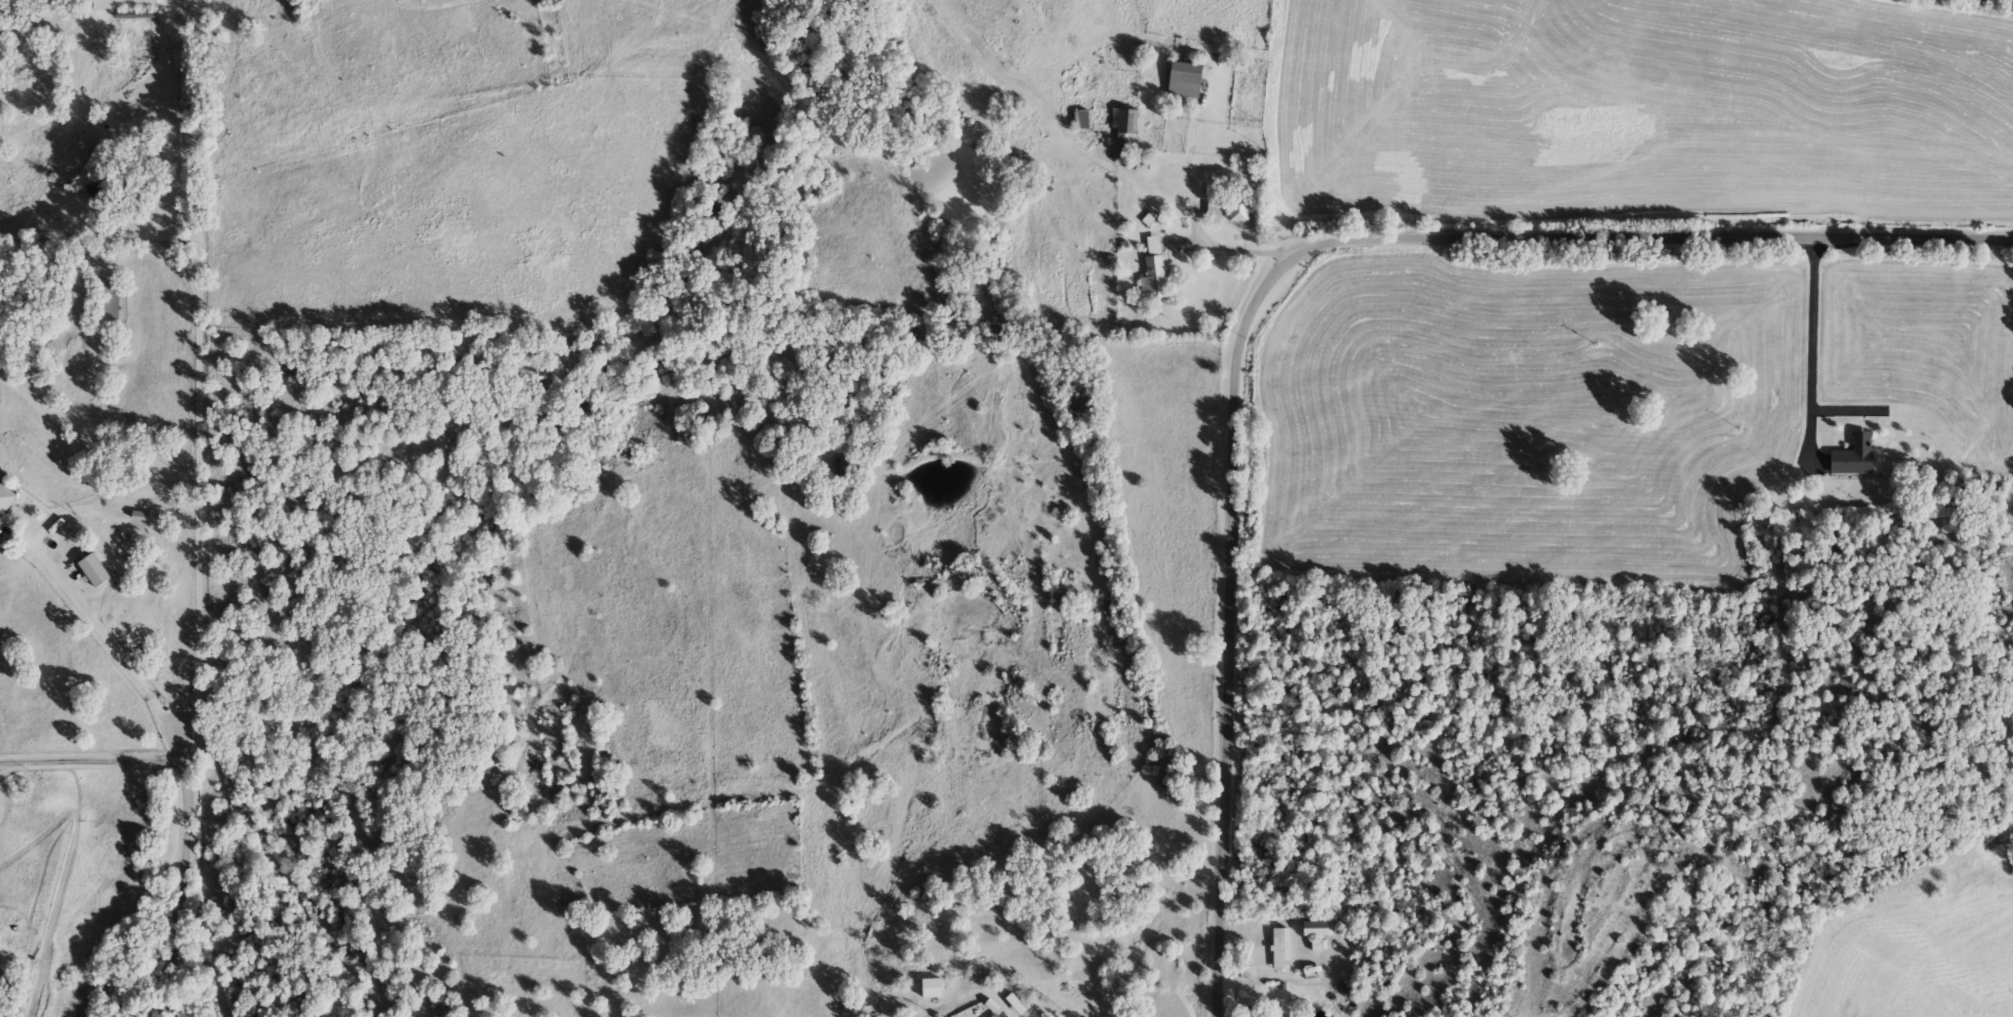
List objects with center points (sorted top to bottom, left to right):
building: (549, 3)
building: (135, 14)
building: (1183, 80)
building: (188, 83)
building: (1125, 122)
road: (1181, 188)
building: (1241, 209)
road: (15, 225)
road: (1268, 269)
building: (1152, 272)
building: (107, 306)
road: (195, 310)
road: (1814, 342)
building: (1852, 457)
building: (5, 501)
building: (1932, 506)
building: (93, 572)
road: (108, 641)
road: (91, 758)
road: (10, 766)
road: (180, 876)
building: (1314, 929)
building: (1280, 949)
building: (937, 993)
building: (852, 1004)
building: (1015, 1004)

